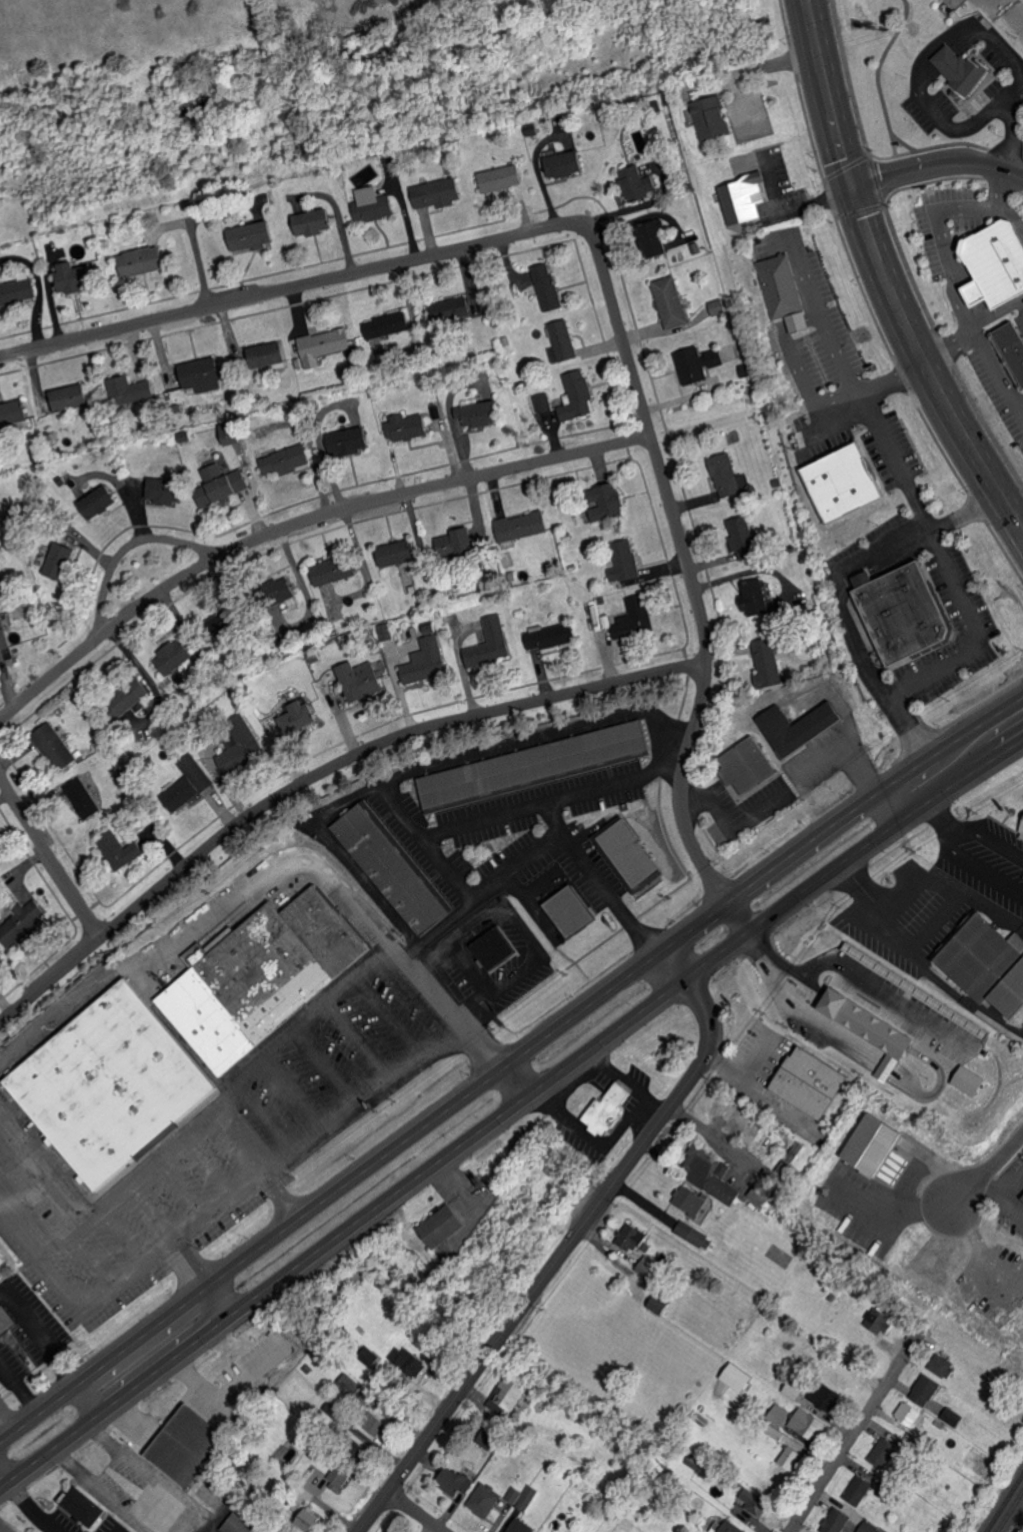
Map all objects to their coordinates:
road: (977, 25)
building: (961, 68)
building: (710, 118)
road: (957, 126)
road: (1012, 141)
building: (568, 164)
road: (938, 170)
building: (503, 178)
building: (639, 184)
traffic signals: (854, 191)
building: (440, 193)
building: (745, 199)
building: (374, 205)
building: (316, 222)
building: (254, 235)
building: (657, 239)
building: (144, 261)
road: (950, 261)
building: (998, 265)
road: (608, 273)
building: (77, 277)
road: (885, 277)
building: (782, 286)
building: (548, 287)
building: (18, 288)
building: (673, 302)
building: (459, 307)
building: (721, 307)
building: (389, 326)
building: (563, 342)
building: (324, 345)
building: (1013, 348)
building: (265, 355)
building: (702, 365)
road: (851, 368)
road: (999, 371)
building: (204, 374)
building: (128, 391)
building: (577, 396)
building: (70, 397)
building: (544, 402)
building: (13, 412)
building: (481, 413)
building: (410, 426)
building: (234, 434)
building: (352, 441)
road: (897, 457)
building: (289, 460)
building: (729, 475)
building: (228, 481)
building: (844, 482)
building: (169, 490)
building: (100, 502)
building: (610, 502)
road: (300, 522)
building: (524, 526)
road: (1021, 526)
building: (745, 538)
building: (469, 541)
road: (127, 545)
building: (400, 553)
building: (63, 561)
building: (628, 561)
building: (337, 570)
road: (838, 588)
building: (286, 591)
building: (758, 597)
building: (908, 612)
building: (637, 619)
road: (972, 628)
building: (386, 632)
building: (552, 636)
building: (4, 638)
building: (491, 644)
building: (175, 658)
building: (427, 659)
building: (770, 663)
building: (361, 681)
building: (126, 701)
building: (291, 724)
building: (806, 729)
road: (674, 737)
building: (56, 747)
road: (500, 749)
building: (235, 758)
building: (534, 764)
building: (748, 766)
road: (317, 772)
building: (190, 783)
building: (84, 798)
road: (932, 798)
road: (450, 834)
building: (1022, 838)
road: (957, 842)
road: (540, 846)
building: (122, 850)
building: (633, 854)
road: (49, 859)
building: (393, 869)
road: (449, 871)
road: (245, 893)
road: (987, 905)
building: (574, 912)
road: (740, 913)
building: (23, 922)
road: (520, 925)
road: (928, 926)
road: (766, 948)
building: (497, 949)
building: (989, 964)
road: (846, 967)
building: (264, 977)
road: (954, 996)
road: (390, 1016)
building: (875, 1030)
road: (358, 1042)
road: (508, 1059)
road: (496, 1061)
road: (328, 1065)
building: (973, 1081)
building: (814, 1083)
building: (111, 1085)
road: (234, 1085)
road: (293, 1093)
building: (610, 1110)
road: (508, 1113)
road: (265, 1118)
road: (715, 1138)
road: (238, 1143)
building: (876, 1145)
road: (211, 1165)
building: (710, 1174)
road: (979, 1178)
road: (181, 1189)
building: (763, 1193)
road: (279, 1195)
building: (691, 1201)
road: (220, 1204)
building: (444, 1226)
building: (696, 1235)
building: (634, 1236)
road: (572, 1243)
building: (652, 1266)
road: (200, 1281)
building: (659, 1304)
building: (7, 1320)
building: (883, 1321)
building: (410, 1359)
building: (943, 1365)
road: (188, 1373)
building: (739, 1377)
building: (347, 1386)
building: (927, 1388)
building: (511, 1393)
building: (829, 1395)
road: (193, 1397)
building: (909, 1412)
building: (779, 1415)
building: (954, 1416)
road: (4, 1423)
building: (379, 1423)
building: (810, 1424)
road: (858, 1434)
building: (490, 1439)
building: (192, 1444)
building: (886, 1451)
building: (342, 1474)
building: (457, 1481)
building: (860, 1489)
building: (524, 1496)
building: (488, 1500)
building: (755, 1501)
railway: (1003, 1501)
building: (87, 1506)
railway: (1009, 1509)
road: (412, 1514)
building: (311, 1520)
building: (837, 1520)
building: (243, 1523)
building: (523, 1526)
building: (718, 1527)
building: (733, 1527)
building: (869, 1527)
road: (4, 1529)
building: (388, 1531)
building: (545, 1531)

